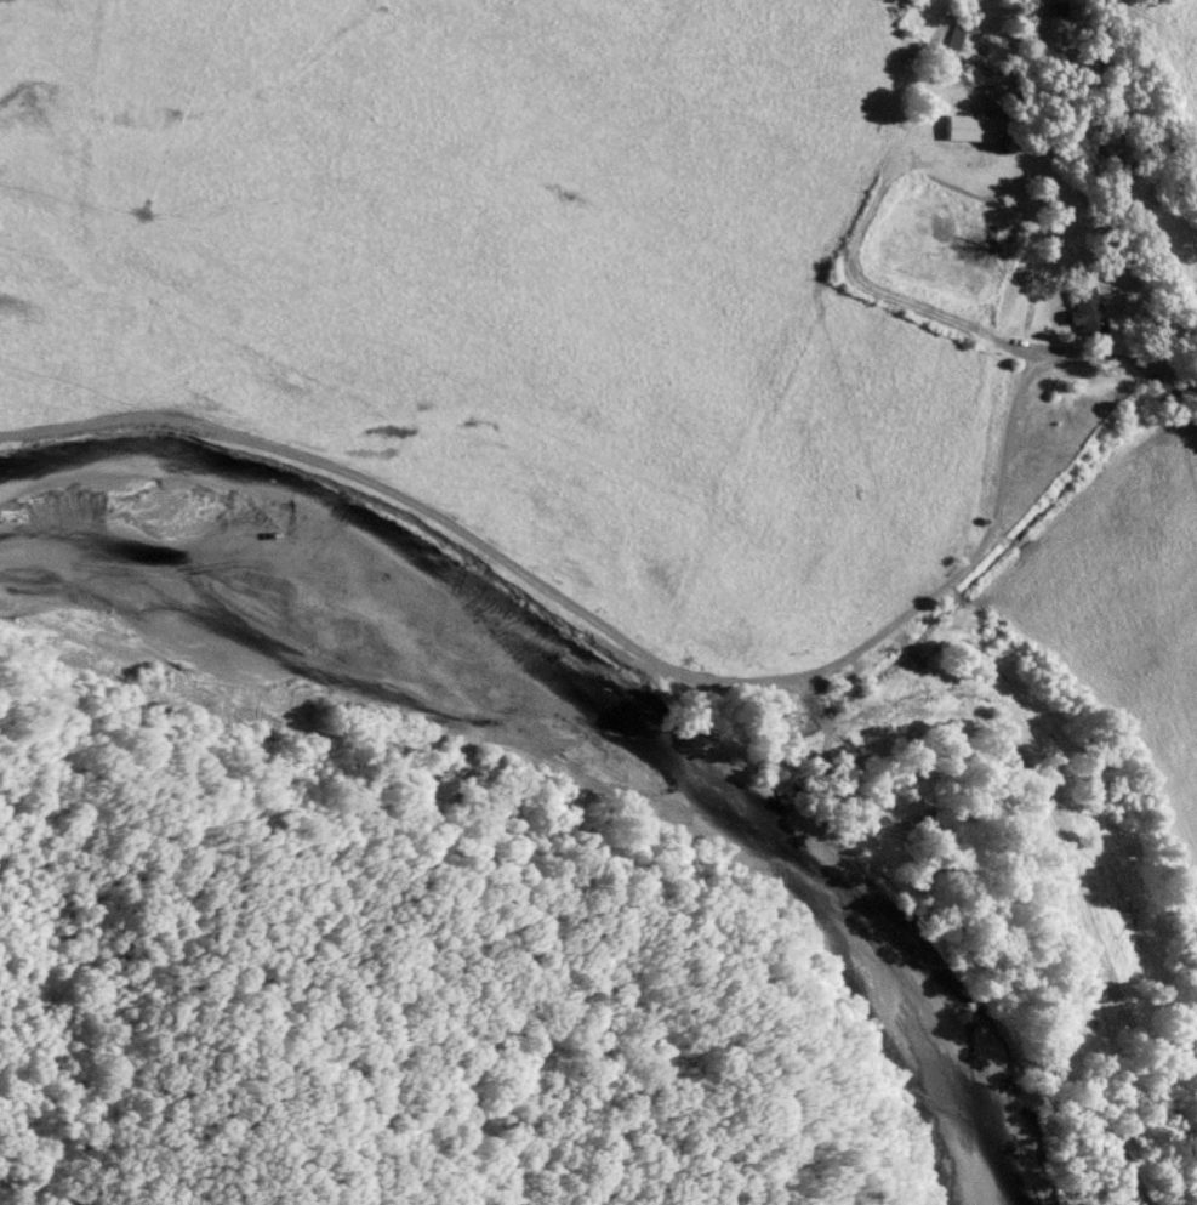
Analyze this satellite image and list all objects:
building: (974, 127)
building: (1091, 311)
road: (878, 638)
river: (605, 766)

